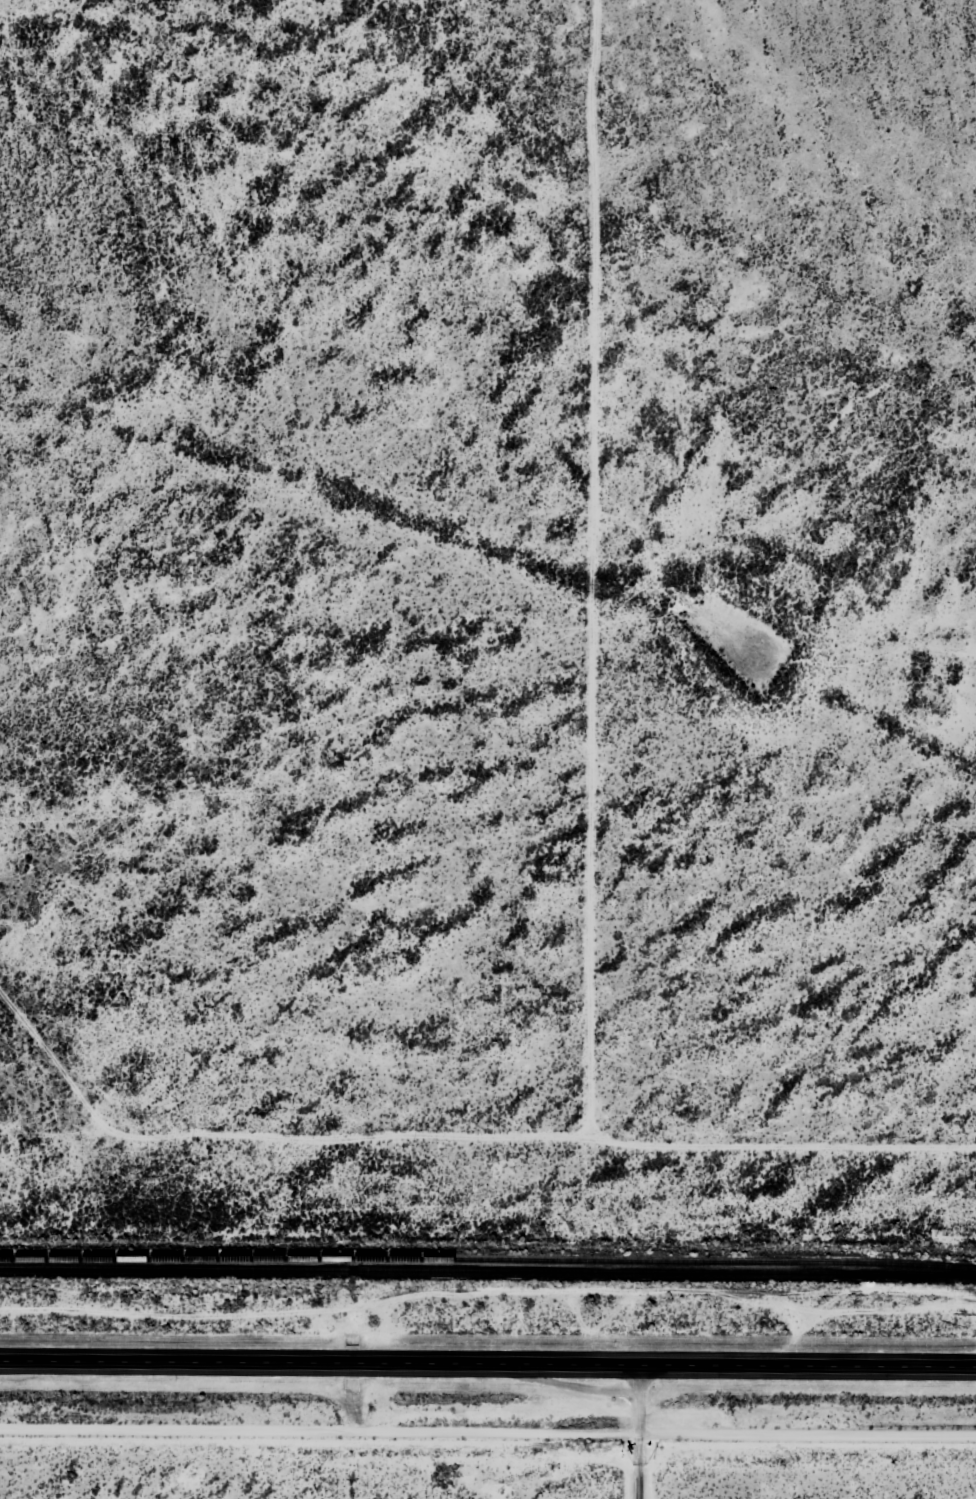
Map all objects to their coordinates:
railway: (488, 1260)
railway: (488, 1270)
road: (488, 1362)
road: (638, 1431)

